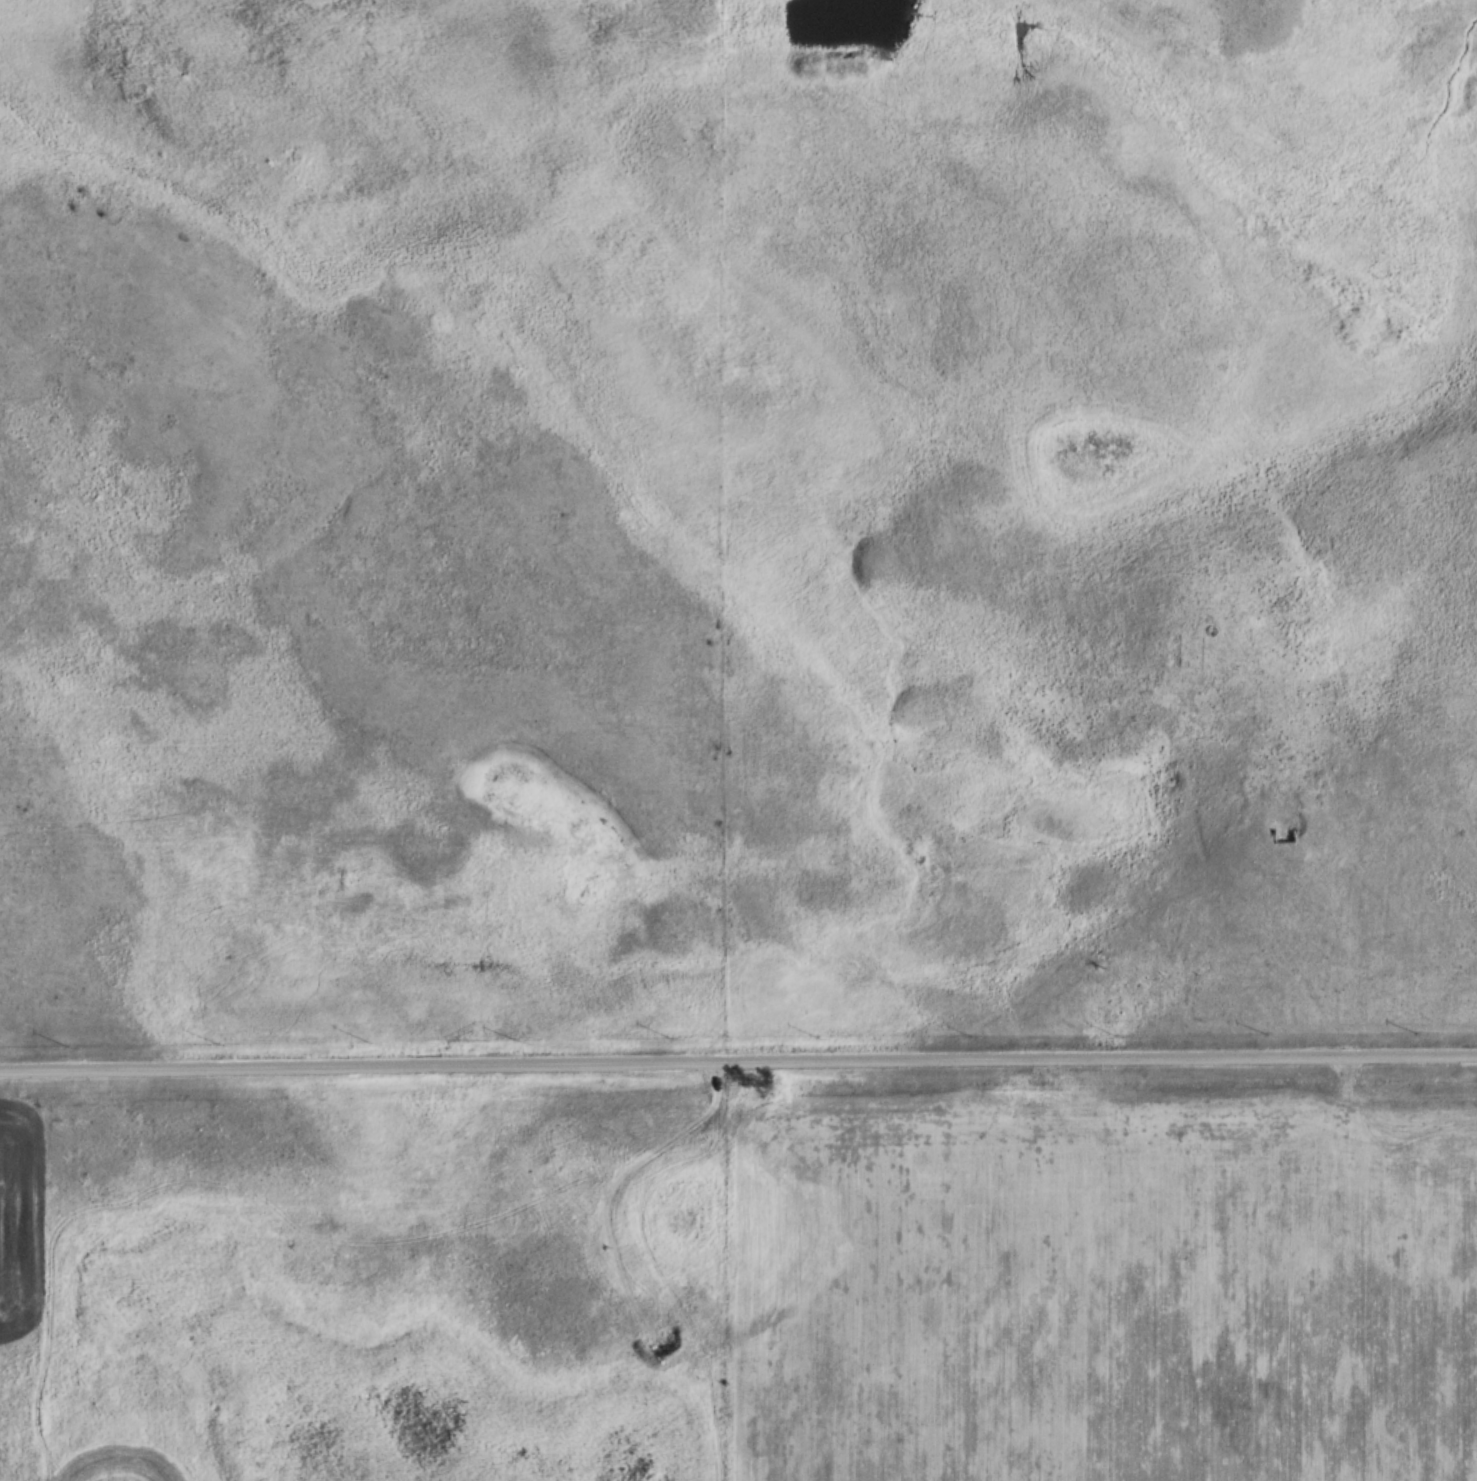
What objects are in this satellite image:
road: (738, 1067)

